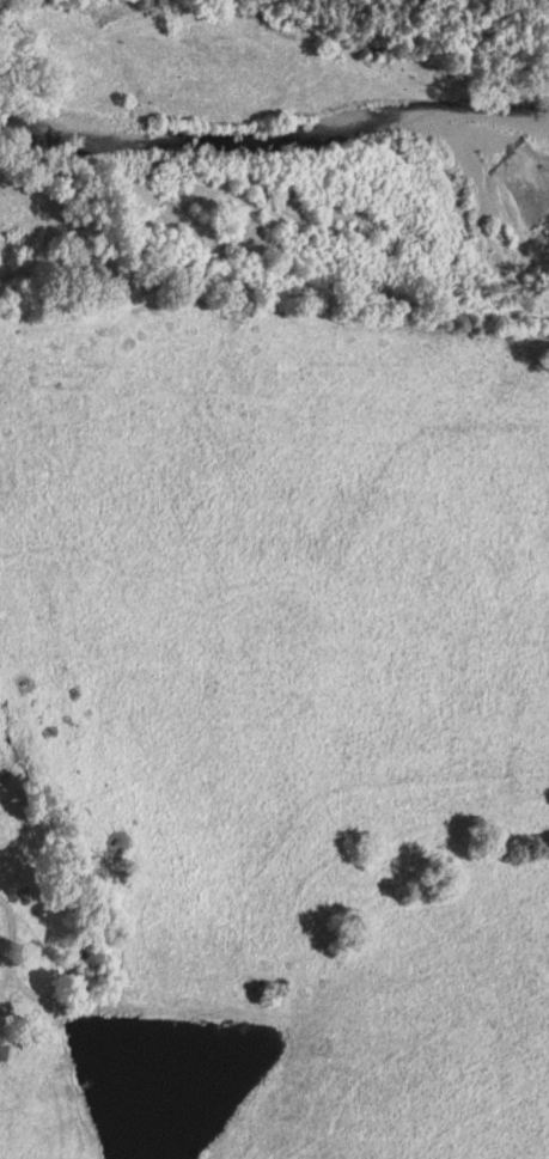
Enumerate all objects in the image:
building: (2, 1049)

